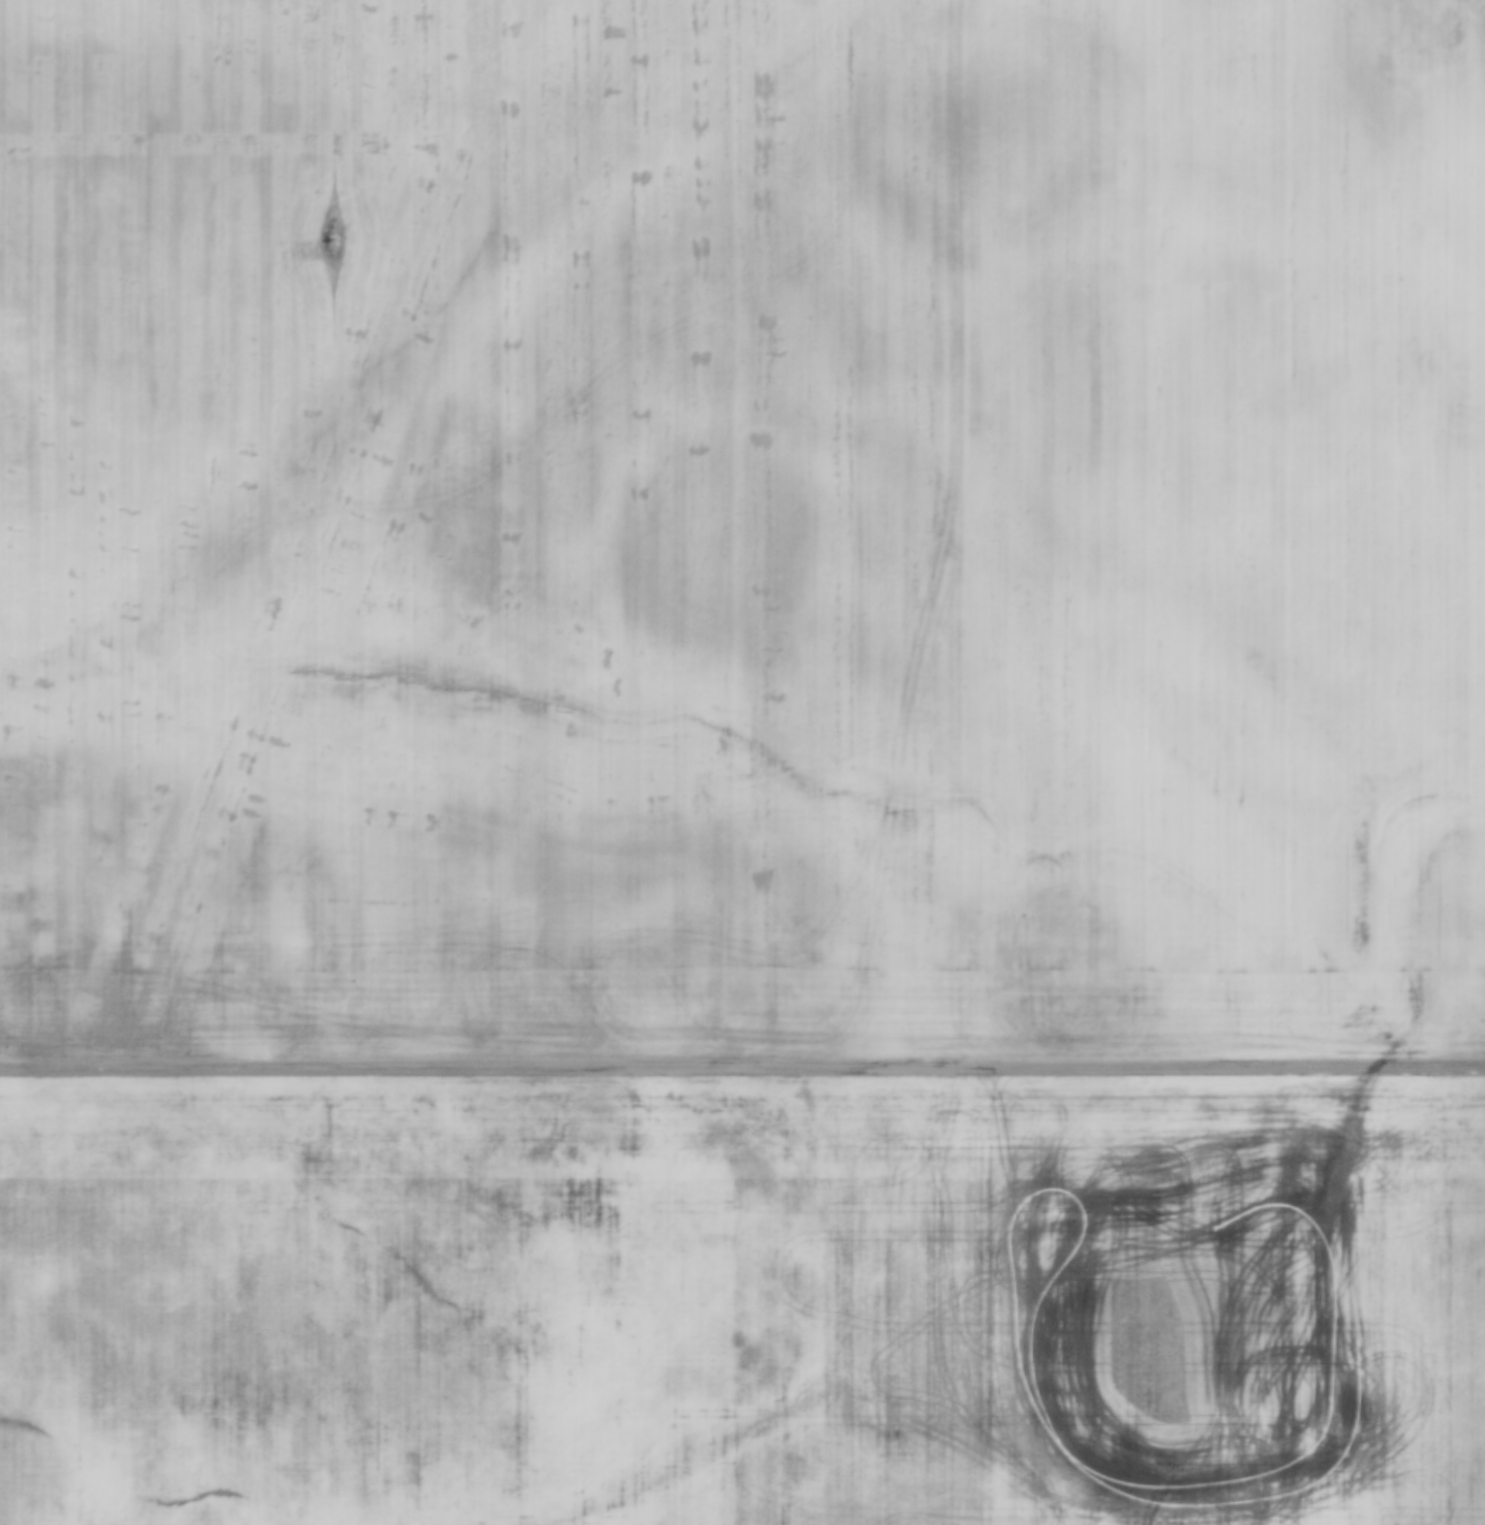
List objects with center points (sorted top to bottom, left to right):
road: (742, 1067)

